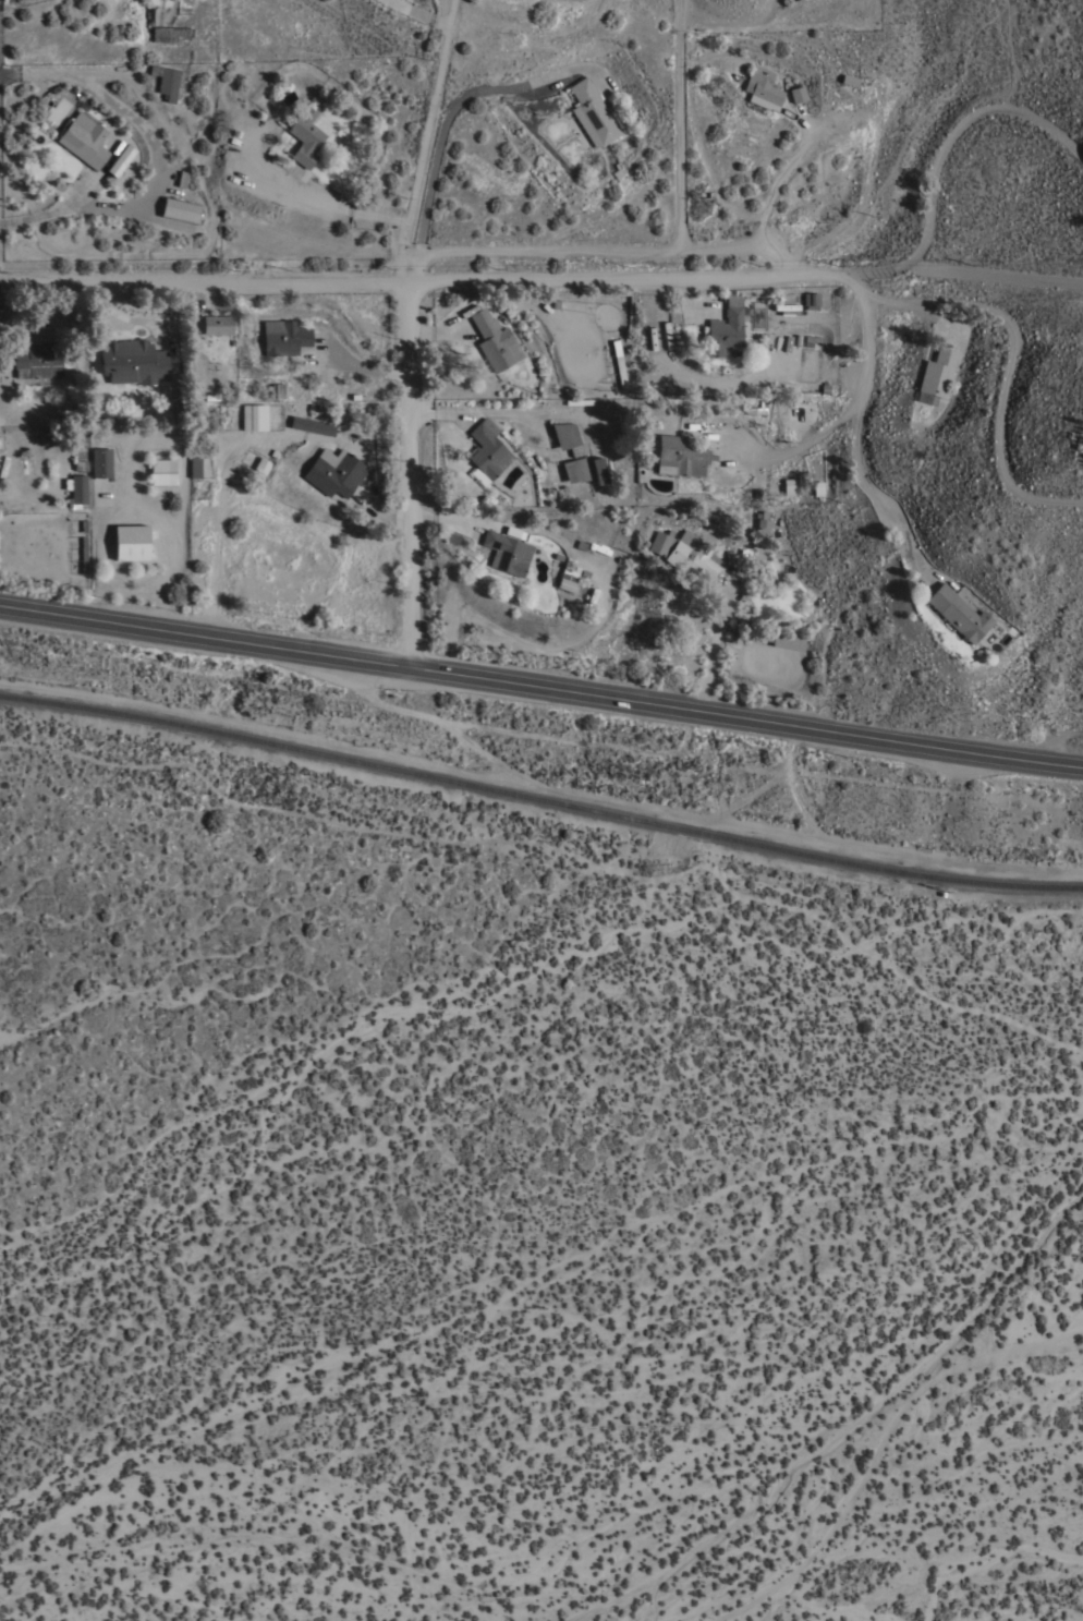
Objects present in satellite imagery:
road: (683, 13)
building: (169, 33)
building: (849, 80)
building: (166, 81)
building: (763, 88)
building: (798, 94)
building: (593, 113)
road: (450, 123)
road: (953, 133)
building: (307, 134)
building: (84, 140)
road: (159, 159)
building: (122, 160)
road: (787, 165)
road: (80, 192)
road: (343, 206)
building: (180, 209)
road: (725, 247)
road: (777, 249)
road: (647, 253)
road: (949, 270)
road: (409, 283)
building: (812, 300)
road: (902, 303)
building: (217, 324)
building: (723, 330)
road: (412, 331)
building: (283, 337)
building: (495, 340)
building: (38, 360)
building: (133, 361)
building: (619, 364)
road: (372, 371)
building: (937, 372)
building: (721, 385)
road: (1006, 388)
building: (278, 389)
building: (577, 401)
building: (254, 416)
road: (851, 418)
building: (312, 425)
building: (567, 437)
road: (798, 448)
building: (487, 451)
building: (680, 456)
building: (101, 462)
building: (261, 464)
building: (195, 467)
building: (575, 470)
building: (598, 470)
building: (162, 471)
building: (334, 472)
building: (789, 486)
building: (817, 487)
building: (77, 491)
building: (763, 519)
building: (131, 542)
building: (659, 542)
building: (583, 545)
building: (507, 552)
building: (83, 555)
building: (692, 556)
building: (567, 579)
building: (957, 613)
building: (787, 640)
road: (541, 686)
railway: (539, 798)

